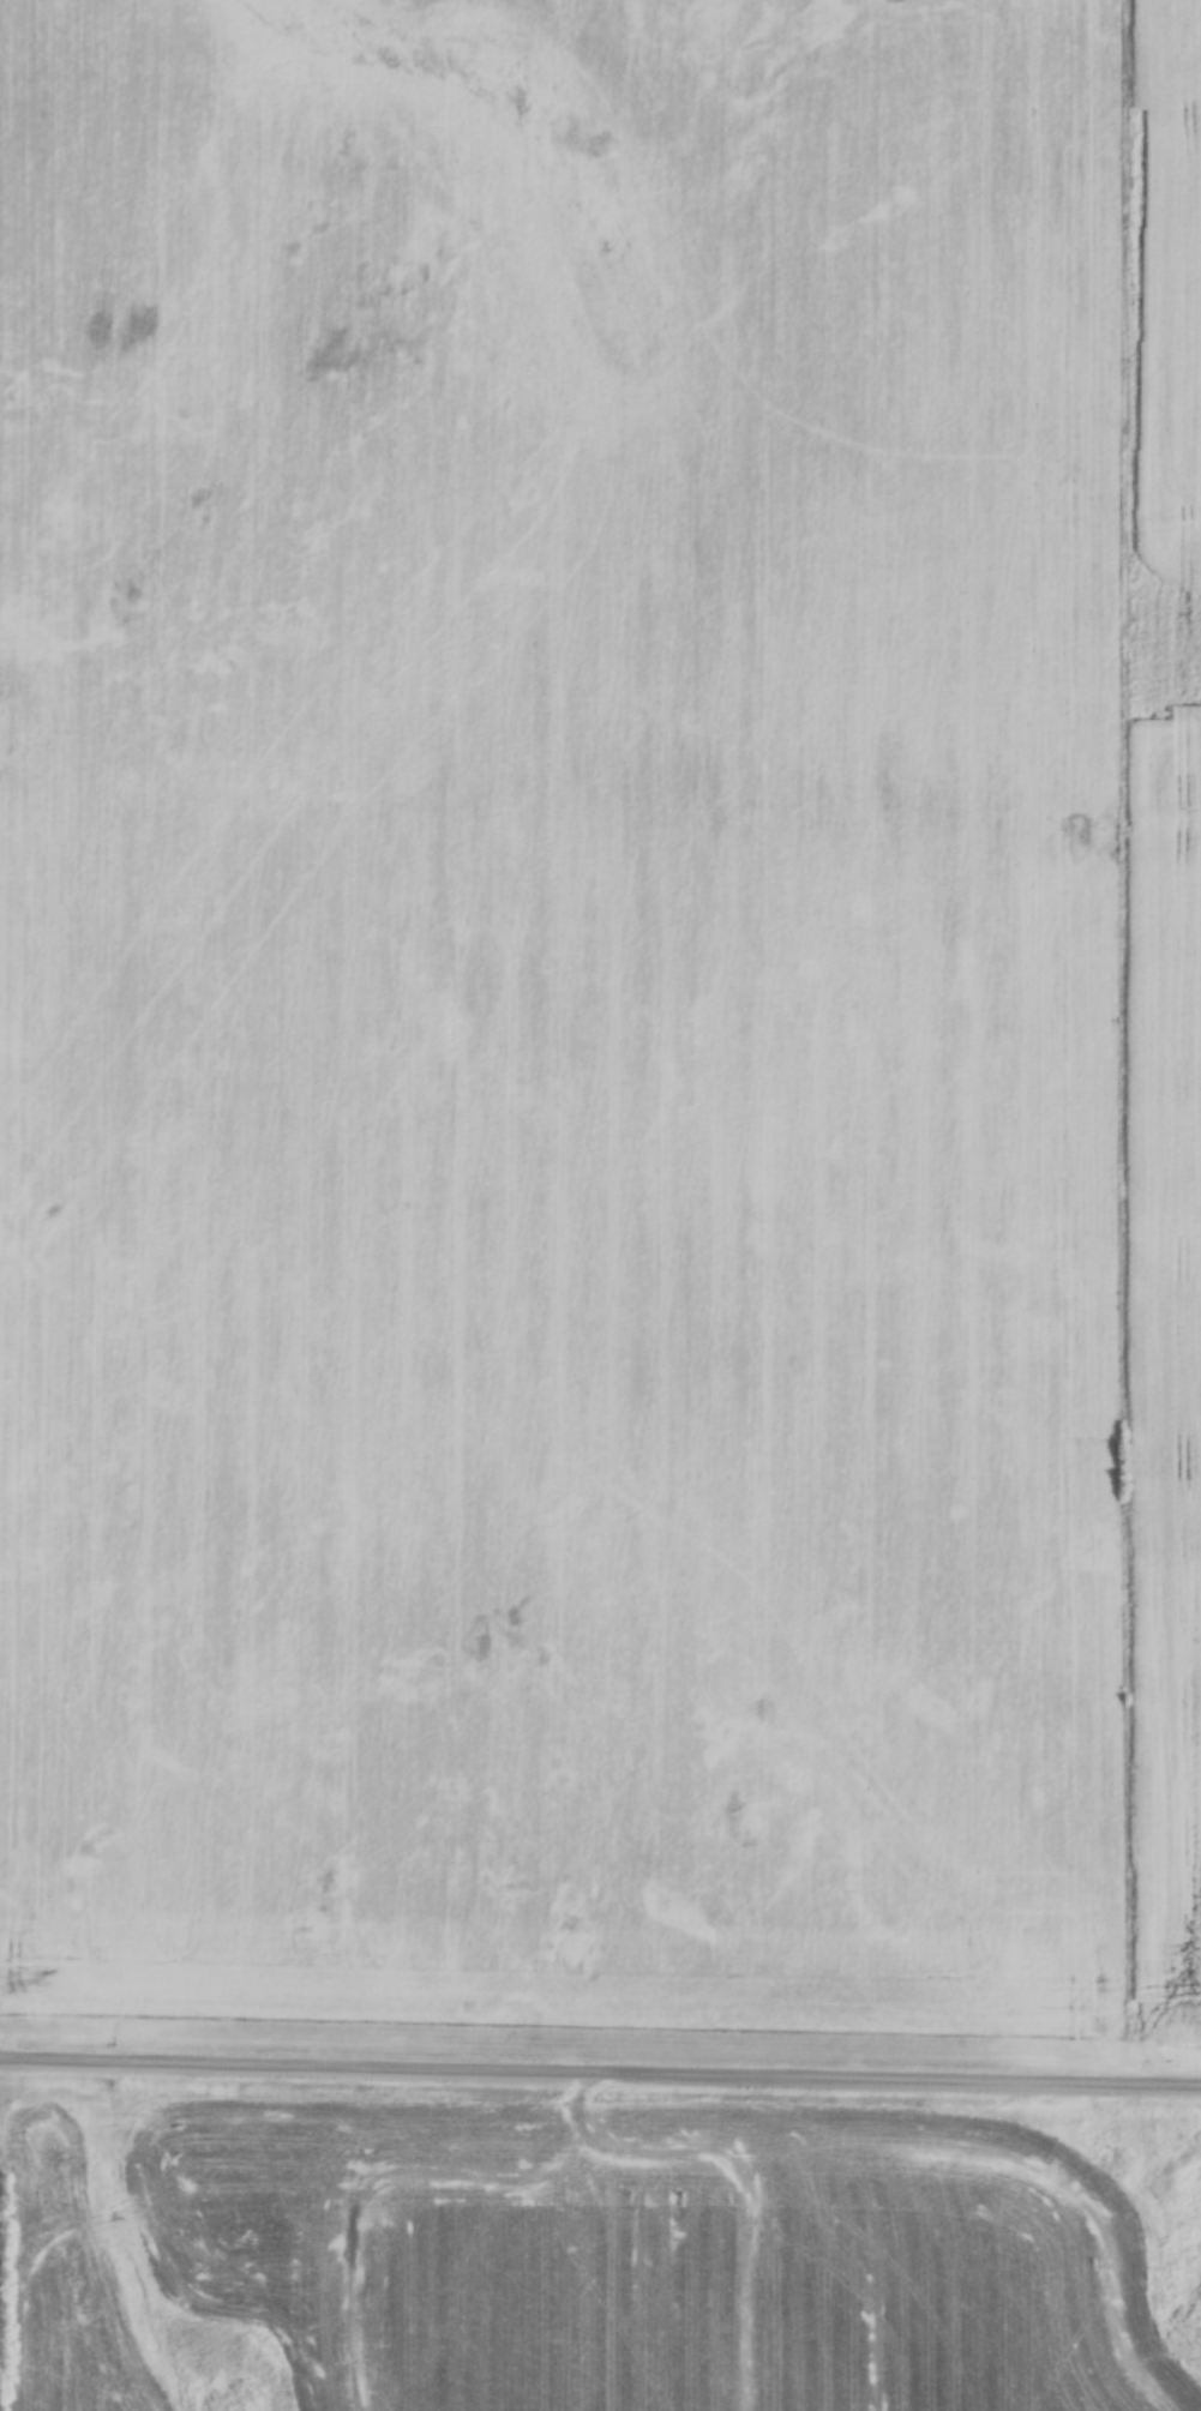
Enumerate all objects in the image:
road: (600, 2084)

